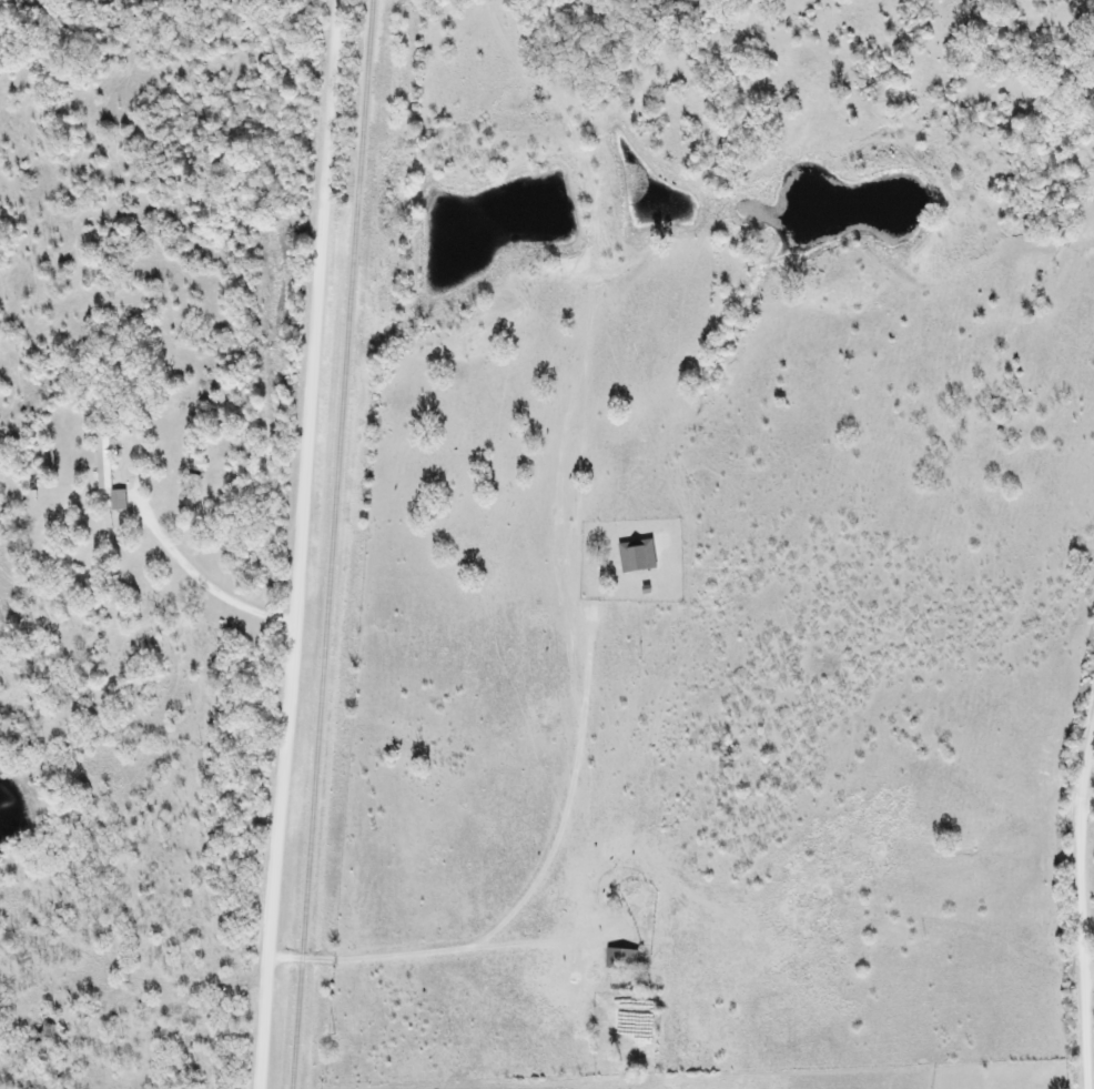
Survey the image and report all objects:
building: (109, 462)
road: (296, 544)
railway: (334, 544)
building: (641, 556)
road: (1081, 903)
road: (374, 958)
building: (626, 958)

